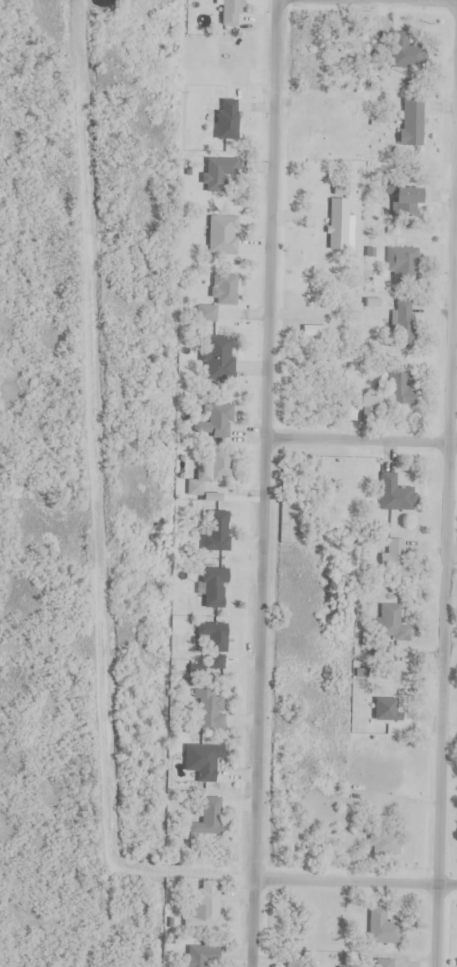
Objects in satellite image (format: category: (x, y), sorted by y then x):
road: (366, 2)
building: (407, 49)
building: (227, 118)
building: (412, 123)
building: (221, 174)
building: (407, 201)
building: (341, 225)
building: (223, 235)
building: (402, 263)
building: (225, 289)
building: (402, 320)
building: (220, 359)
building: (388, 397)
building: (348, 411)
building: (215, 422)
road: (359, 444)
building: (220, 467)
road: (261, 483)
building: (396, 494)
building: (216, 531)
road: (442, 554)
building: (397, 560)
building: (213, 588)
building: (390, 622)
building: (214, 637)
building: (390, 697)
building: (209, 710)
building: (208, 764)
building: (208, 818)
building: (385, 840)
road: (354, 882)
building: (205, 908)
building: (385, 927)
building: (201, 956)
building: (297, 961)
building: (383, 963)

